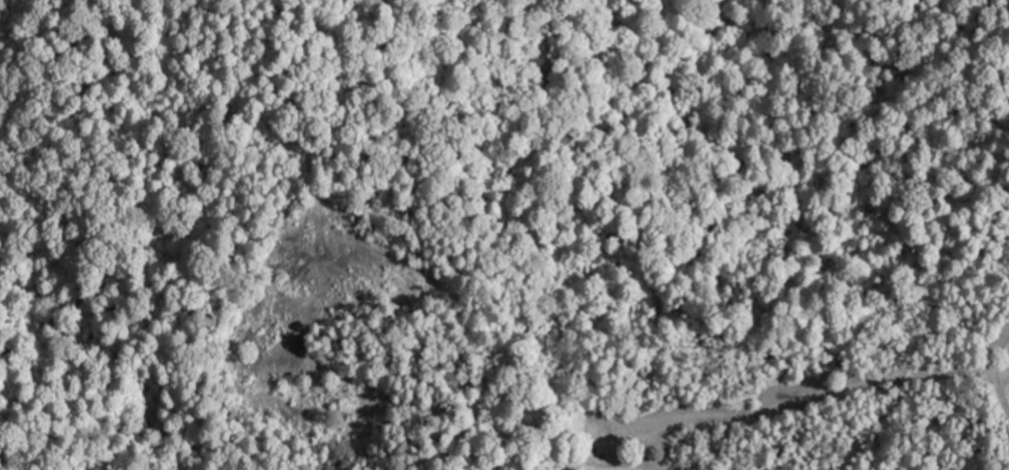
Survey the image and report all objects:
road: (775, 391)

